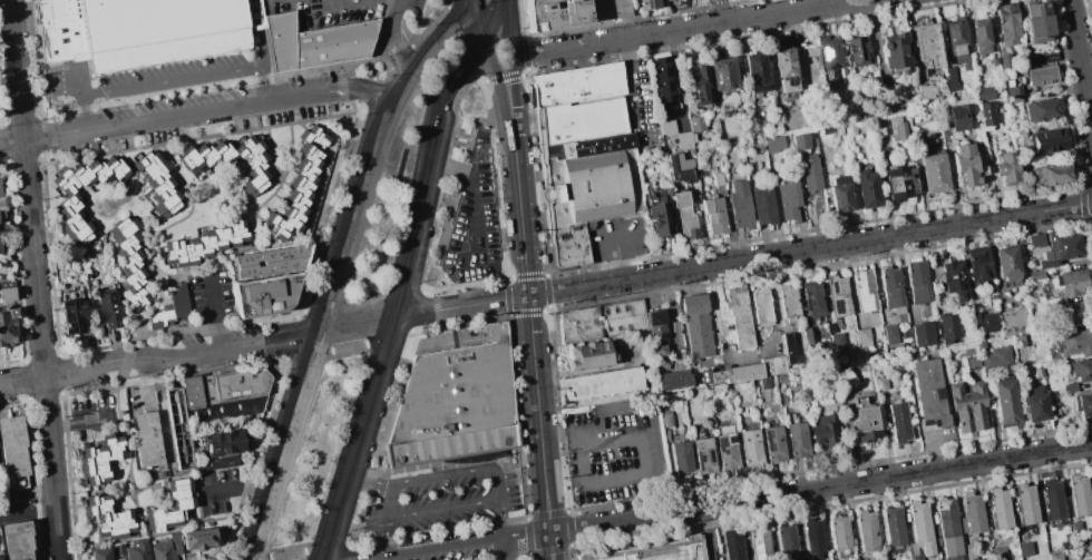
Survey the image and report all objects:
building: (666, 0)
road: (446, 3)
building: (649, 4)
parking lot: (416, 7)
road: (722, 11)
building: (573, 12)
road: (480, 14)
road: (493, 16)
road: (521, 19)
building: (1035, 20)
road: (428, 24)
building: (1007, 24)
road: (508, 28)
road: (688, 28)
building: (144, 30)
traffic signals: (484, 31)
building: (981, 37)
building: (954, 38)
road: (376, 39)
road: (396, 39)
building: (316, 42)
road: (458, 42)
building: (926, 45)
road: (474, 46)
rooftop solar panel: (822, 51)
building: (856, 51)
road: (524, 52)
building: (829, 53)
building: (896, 53)
road: (400, 57)
building: (1049, 57)
rooftop solar panel: (1049, 57)
road: (423, 59)
building: (1004, 60)
building: (994, 61)
rooftop solar panel: (832, 65)
road: (1081, 66)
road: (389, 67)
building: (784, 69)
building: (755, 72)
road: (526, 73)
rooftop solar panel: (716, 73)
building: (721, 73)
road: (632, 75)
road: (495, 76)
building: (1039, 76)
road: (188, 77)
road: (503, 77)
parking lot: (139, 78)
road: (470, 78)
road: (479, 81)
road: (482, 81)
traffic signals: (513, 82)
building: (698, 85)
building: (577, 86)
building: (664, 87)
road: (511, 89)
building: (1012, 90)
road: (367, 91)
building: (924, 91)
building: (983, 92)
building: (959, 95)
building: (1013, 99)
road: (439, 102)
building: (890, 102)
road: (197, 110)
building: (1041, 110)
road: (84, 111)
building: (985, 114)
building: (944, 117)
building: (961, 117)
building: (695, 124)
building: (666, 127)
building: (896, 128)
building: (826, 130)
building: (850, 130)
road: (464, 135)
building: (684, 139)
building: (801, 140)
building: (1046, 141)
road: (460, 144)
building: (772, 144)
building: (754, 146)
building: (205, 156)
building: (886, 157)
building: (252, 164)
road: (440, 164)
building: (963, 165)
building: (680, 166)
building: (1006, 169)
building: (933, 171)
building: (585, 173)
building: (810, 173)
building: (87, 174)
road: (537, 174)
building: (1050, 174)
building: (716, 178)
building: (899, 180)
building: (157, 183)
building: (298, 185)
building: (867, 187)
railway: (397, 189)
rooftop solar panel: (832, 190)
rooftop solar panel: (837, 193)
building: (839, 193)
road: (496, 199)
building: (788, 199)
road: (1091, 202)
rooftop solar panel: (833, 203)
building: (1, 204)
road: (471, 204)
building: (738, 205)
building: (761, 206)
road: (518, 208)
road: (326, 210)
building: (713, 214)
building: (659, 216)
building: (684, 216)
building: (72, 219)
parking lot: (474, 220)
road: (354, 224)
road: (442, 232)
road: (408, 234)
building: (1035, 240)
building: (203, 244)
building: (1057, 247)
road: (622, 255)
road: (740, 259)
building: (271, 262)
building: (128, 263)
building: (1006, 263)
building: (978, 265)
building: (1035, 275)
road: (35, 279)
building: (952, 281)
building: (917, 283)
building: (1072, 283)
building: (891, 286)
rooftop solar panel: (833, 287)
building: (6, 291)
building: (864, 291)
building: (266, 295)
parking lot: (211, 296)
building: (837, 296)
building: (811, 297)
road: (362, 303)
building: (788, 303)
rooftop solar panel: (810, 303)
road: (773, 306)
rooftop solar panel: (838, 307)
building: (106, 308)
building: (170, 308)
building: (761, 308)
road: (300, 310)
road: (547, 311)
building: (71, 312)
road: (417, 312)
building: (1072, 313)
road: (146, 314)
road: (215, 314)
building: (738, 317)
building: (601, 321)
building: (984, 322)
building: (1013, 322)
road: (357, 323)
building: (656, 325)
building: (695, 325)
road: (718, 325)
building: (948, 328)
building: (6, 331)
building: (889, 333)
building: (922, 333)
road: (387, 336)
building: (862, 337)
road: (290, 338)
building: (1073, 342)
building: (837, 343)
road: (348, 347)
building: (788, 347)
road: (306, 354)
building: (589, 356)
building: (660, 356)
building: (994, 356)
road: (162, 357)
building: (772, 365)
building: (1079, 370)
building: (730, 374)
building: (780, 379)
building: (672, 380)
building: (762, 383)
building: (880, 383)
building: (602, 384)
building: (234, 385)
building: (929, 391)
building: (248, 402)
building: (1004, 402)
building: (1034, 403)
building: (1083, 404)
building: (455, 405)
building: (967, 407)
building: (610, 409)
road: (537, 414)
building: (665, 419)
road: (80, 422)
building: (899, 422)
building: (864, 423)
building: (177, 428)
power substation: (178, 429)
building: (822, 430)
road: (559, 431)
road: (353, 438)
building: (146, 439)
road: (381, 439)
rooftop solar panel: (731, 439)
building: (797, 440)
rooftop solar panel: (768, 441)
building: (221, 443)
rooftop solar panel: (719, 443)
building: (772, 443)
road: (289, 444)
building: (12, 445)
building: (725, 448)
building: (749, 448)
rooftop solar panel: (213, 450)
building: (704, 455)
building: (100, 459)
road: (252, 459)
building: (680, 459)
rooftop solar panel: (696, 459)
rooftop solar panel: (708, 459)
building: (215, 463)
road: (457, 475)
road: (644, 475)
road: (367, 483)
road: (819, 488)
road: (238, 489)
parking lot: (215, 490)
building: (179, 493)
building: (1079, 494)
parking lot: (442, 499)
building: (1053, 500)
road: (389, 503)
building: (1026, 503)
building: (1000, 508)
road: (350, 509)
road: (443, 509)
road: (357, 511)
building: (973, 513)
road: (28, 514)
building: (108, 518)
building: (160, 519)
road: (503, 520)
building: (893, 527)
building: (920, 527)
building: (948, 527)
building: (1074, 528)
building: (866, 530)
building: (839, 532)
road: (526, 536)
road: (387, 537)
building: (199, 539)
building: (813, 539)
building: (1091, 539)
building: (17, 540)
building: (787, 543)
building: (759, 544)
road: (549, 546)
building: (733, 546)
building: (1065, 546)
road: (325, 548)
building: (133, 549)
road: (436, 549)
road: (507, 549)
building: (1024, 549)
building: (162, 551)
building: (657, 552)
building: (969, 552)
building: (100, 553)
road: (286, 553)
road: (345, 553)
building: (1000, 553)
building: (1053, 556)
building: (916, 557)
building: (0, 558)
road: (259, 558)

